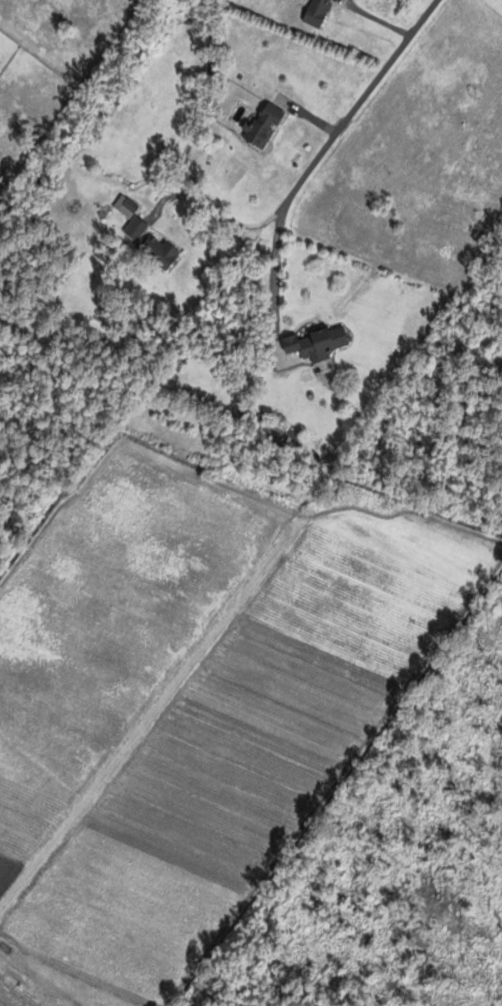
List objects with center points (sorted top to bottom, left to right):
building: (317, 12)
road: (345, 119)
building: (263, 127)
building: (125, 206)
building: (157, 248)
road: (274, 279)
building: (316, 341)

